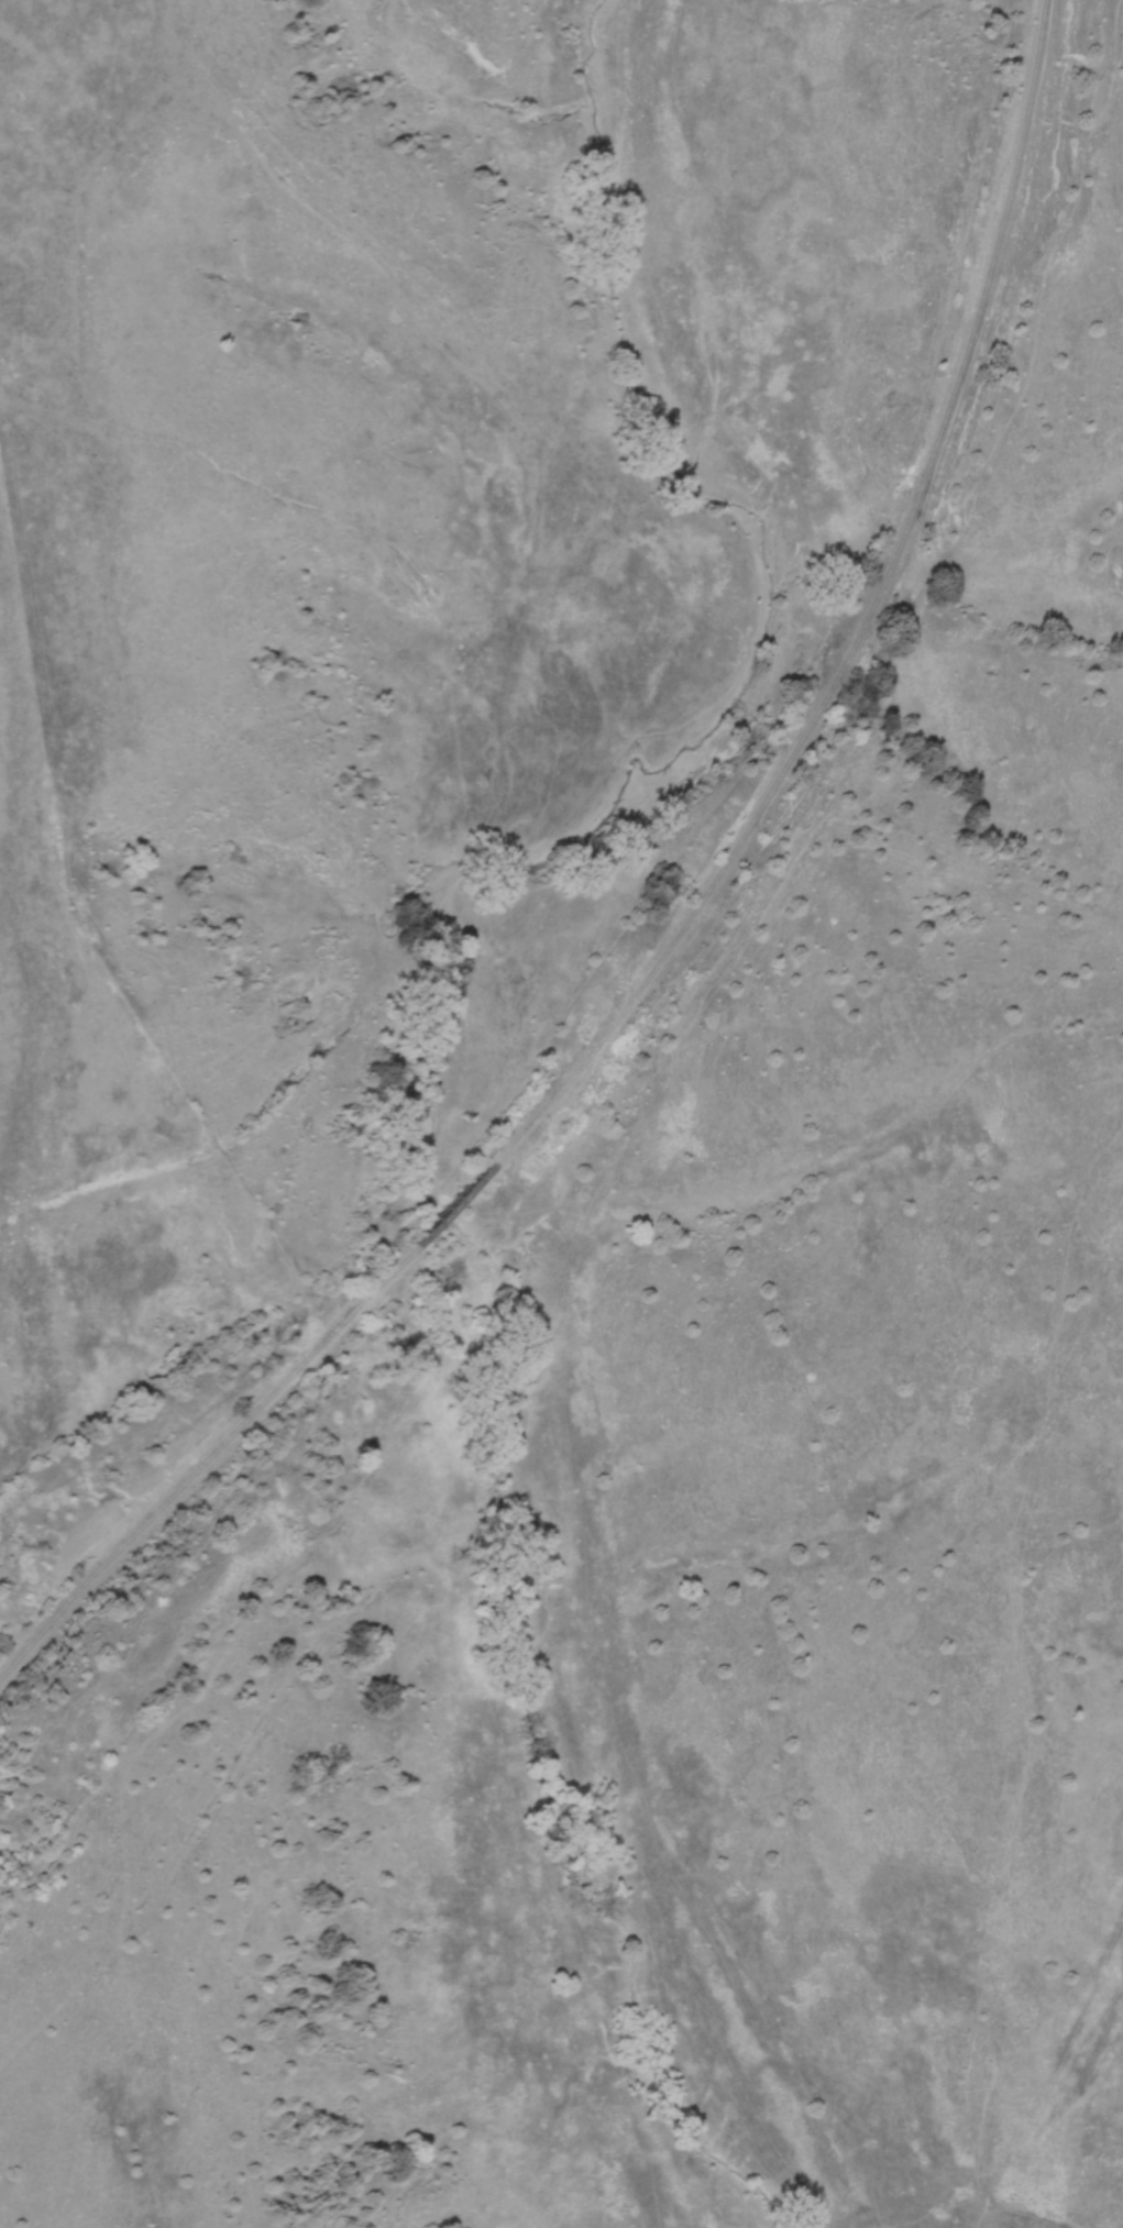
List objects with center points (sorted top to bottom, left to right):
railway: (703, 938)

